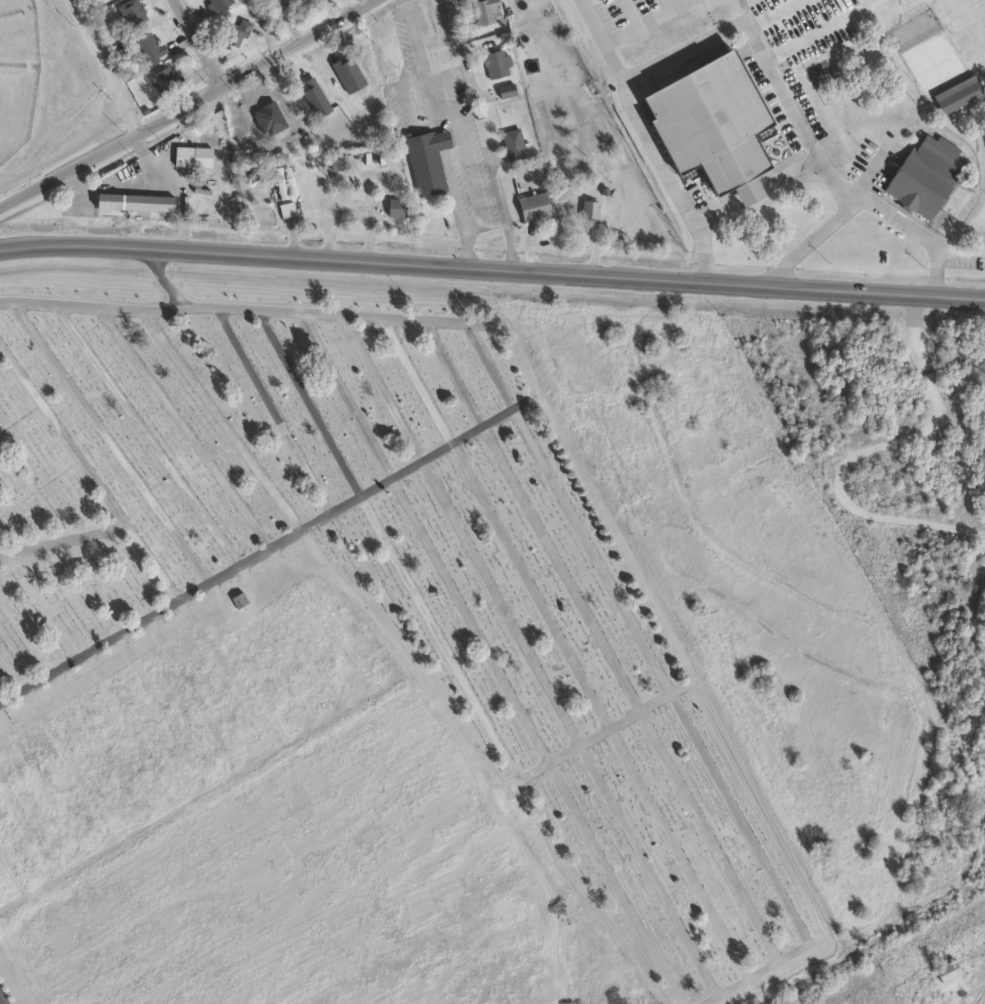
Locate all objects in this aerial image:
building: (278, 3)
building: (216, 4)
building: (483, 10)
building: (130, 12)
road: (644, 21)
building: (234, 31)
road: (197, 42)
building: (145, 45)
road: (458, 47)
building: (492, 63)
building: (164, 77)
building: (504, 89)
building: (310, 93)
building: (956, 93)
road: (790, 100)
road: (185, 104)
building: (708, 122)
road: (459, 126)
road: (649, 139)
building: (511, 143)
building: (181, 154)
building: (425, 159)
building: (338, 161)
road: (869, 171)
building: (923, 172)
building: (278, 181)
building: (132, 201)
building: (531, 204)
building: (394, 207)
building: (587, 208)
building: (285, 209)
road: (917, 229)
road: (18, 243)
road: (960, 245)
road: (492, 270)
road: (163, 278)
road: (6, 302)
road: (21, 302)
road: (78, 306)
road: (226, 306)
road: (109, 307)
road: (180, 308)
road: (281, 310)
road: (310, 312)
road: (361, 316)
road: (389, 317)
road: (444, 320)
road: (483, 355)
road: (523, 399)
road: (494, 415)
road: (20, 416)
road: (464, 433)
road: (61, 434)
road: (434, 451)
road: (863, 451)
road: (403, 468)
road: (31, 480)
road: (372, 484)
road: (39, 486)
road: (342, 501)
road: (313, 518)
road: (10, 535)
road: (283, 536)
road: (62, 539)
road: (252, 553)
road: (557, 567)
road: (222, 571)
road: (529, 584)
road: (192, 590)
road: (498, 601)
road: (466, 618)
road: (128, 627)
park: (435, 660)
road: (675, 688)
road: (592, 734)
road: (707, 835)
road: (678, 851)
road: (647, 869)
road: (770, 871)
road: (613, 882)
building: (945, 969)
road: (1, 1001)

